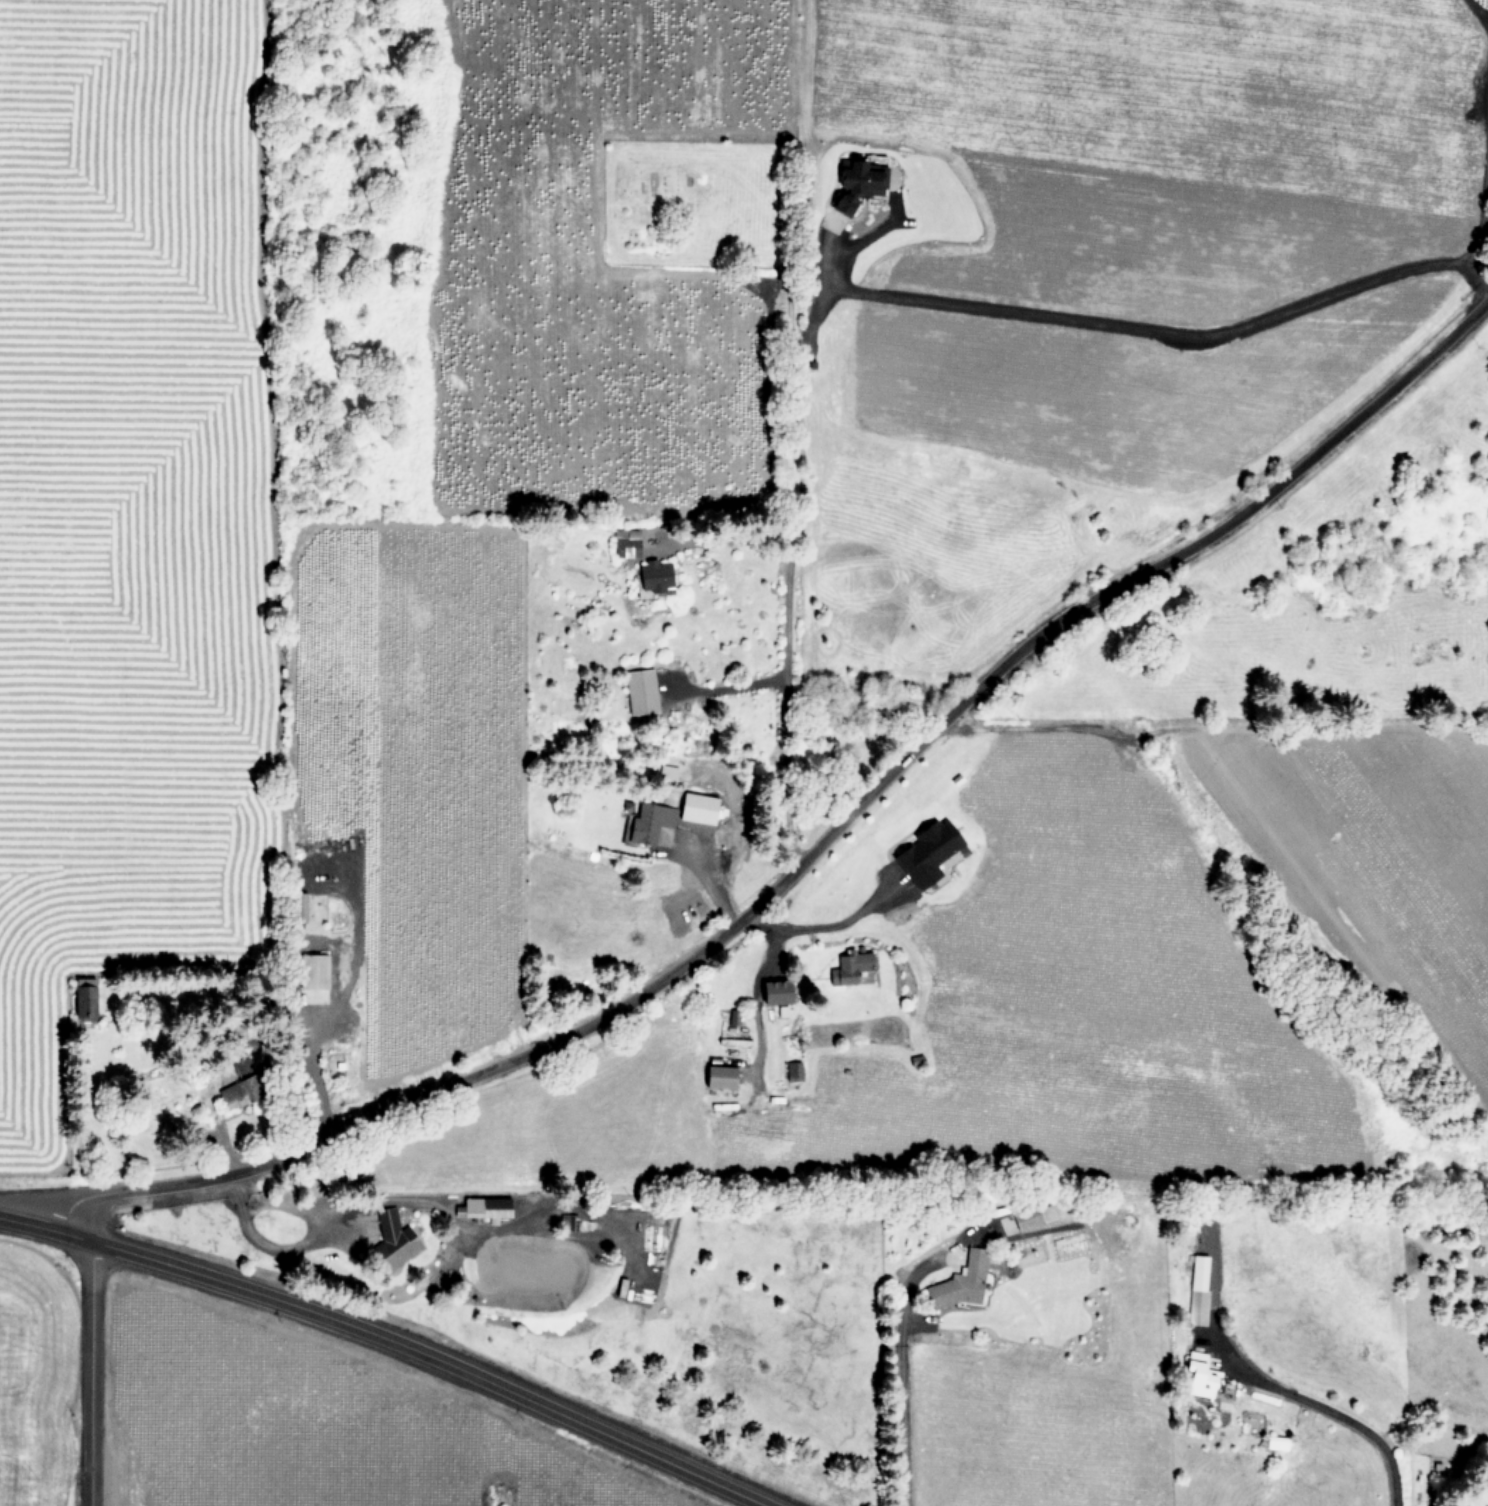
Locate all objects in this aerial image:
road: (1479, 10)
park: (692, 201)
road: (1484, 209)
road: (1475, 285)
road: (1133, 327)
building: (629, 544)
building: (652, 576)
road: (789, 586)
road: (733, 684)
building: (640, 691)
building: (648, 822)
road: (817, 848)
building: (924, 851)
road: (842, 921)
building: (846, 967)
building: (772, 991)
road: (752, 1018)
building: (791, 1069)
building: (716, 1075)
building: (480, 1206)
building: (391, 1238)
road: (273, 1248)
building: (957, 1282)
road: (390, 1339)
road: (898, 1340)
road: (90, 1373)
building: (1225, 1393)
road: (1326, 1410)
crop: (214, 1424)

